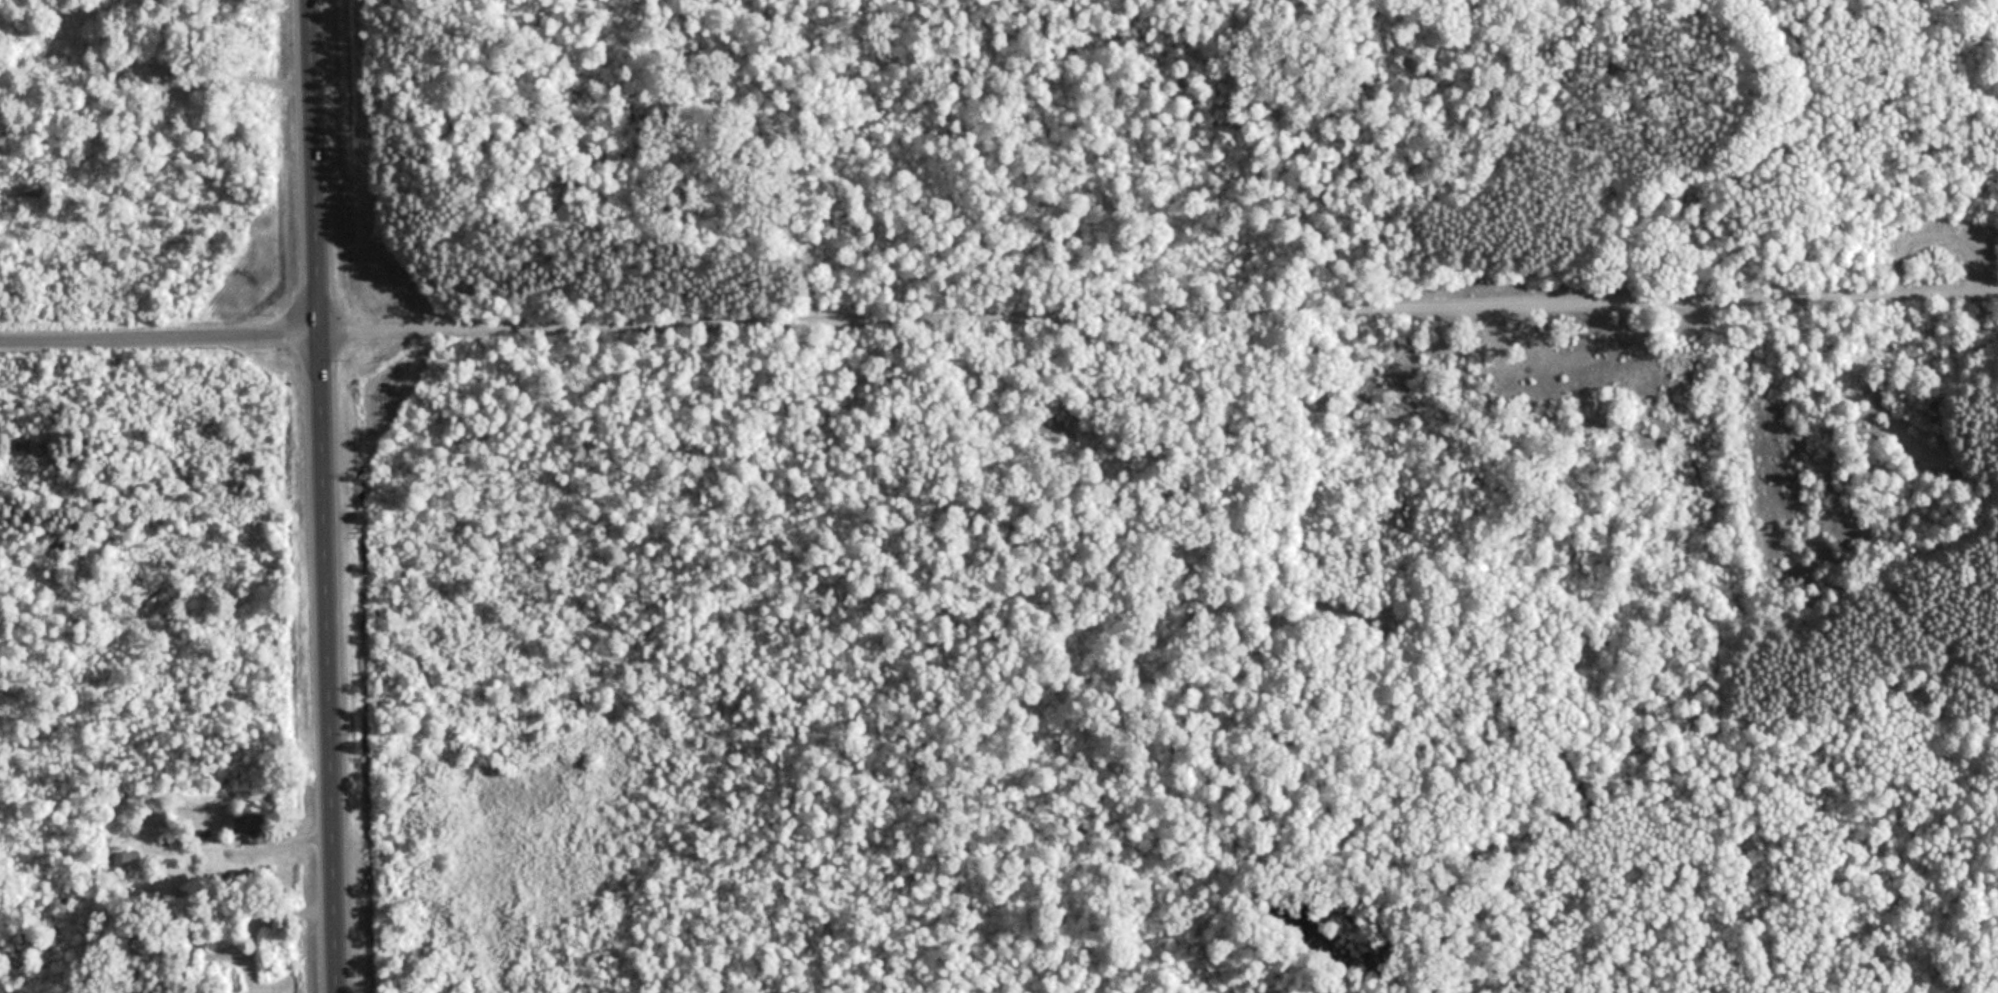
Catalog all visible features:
road: (1158, 313)
road: (159, 336)
park: (1063, 483)
road: (321, 496)
building: (254, 828)
building: (131, 859)

